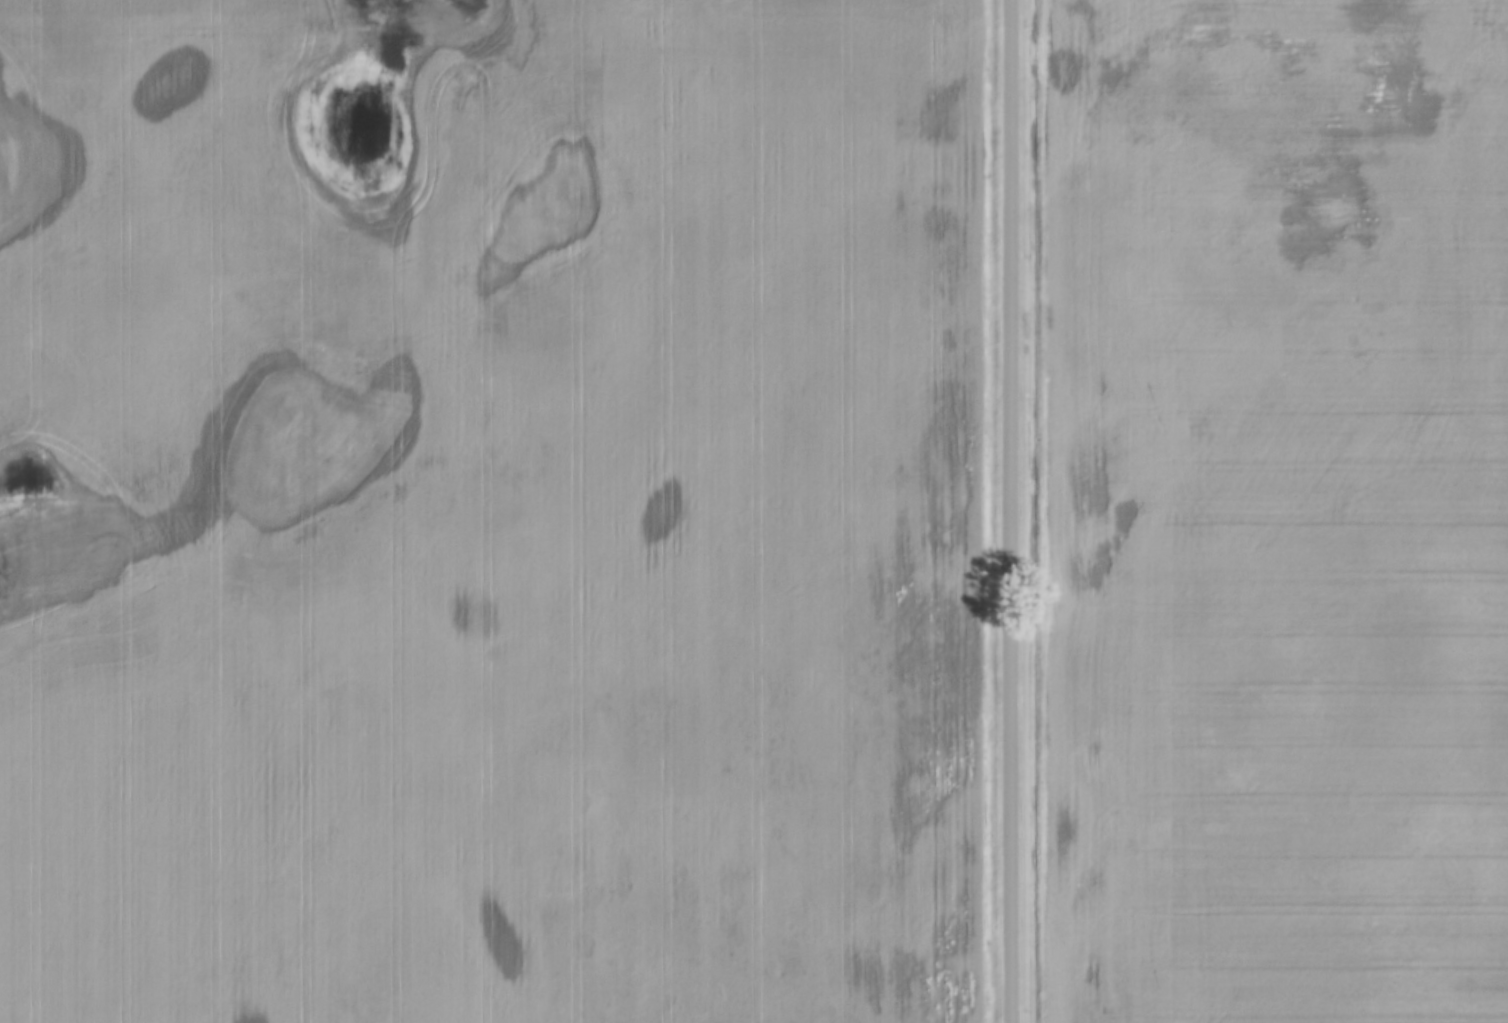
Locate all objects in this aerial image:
road: (1015, 511)

